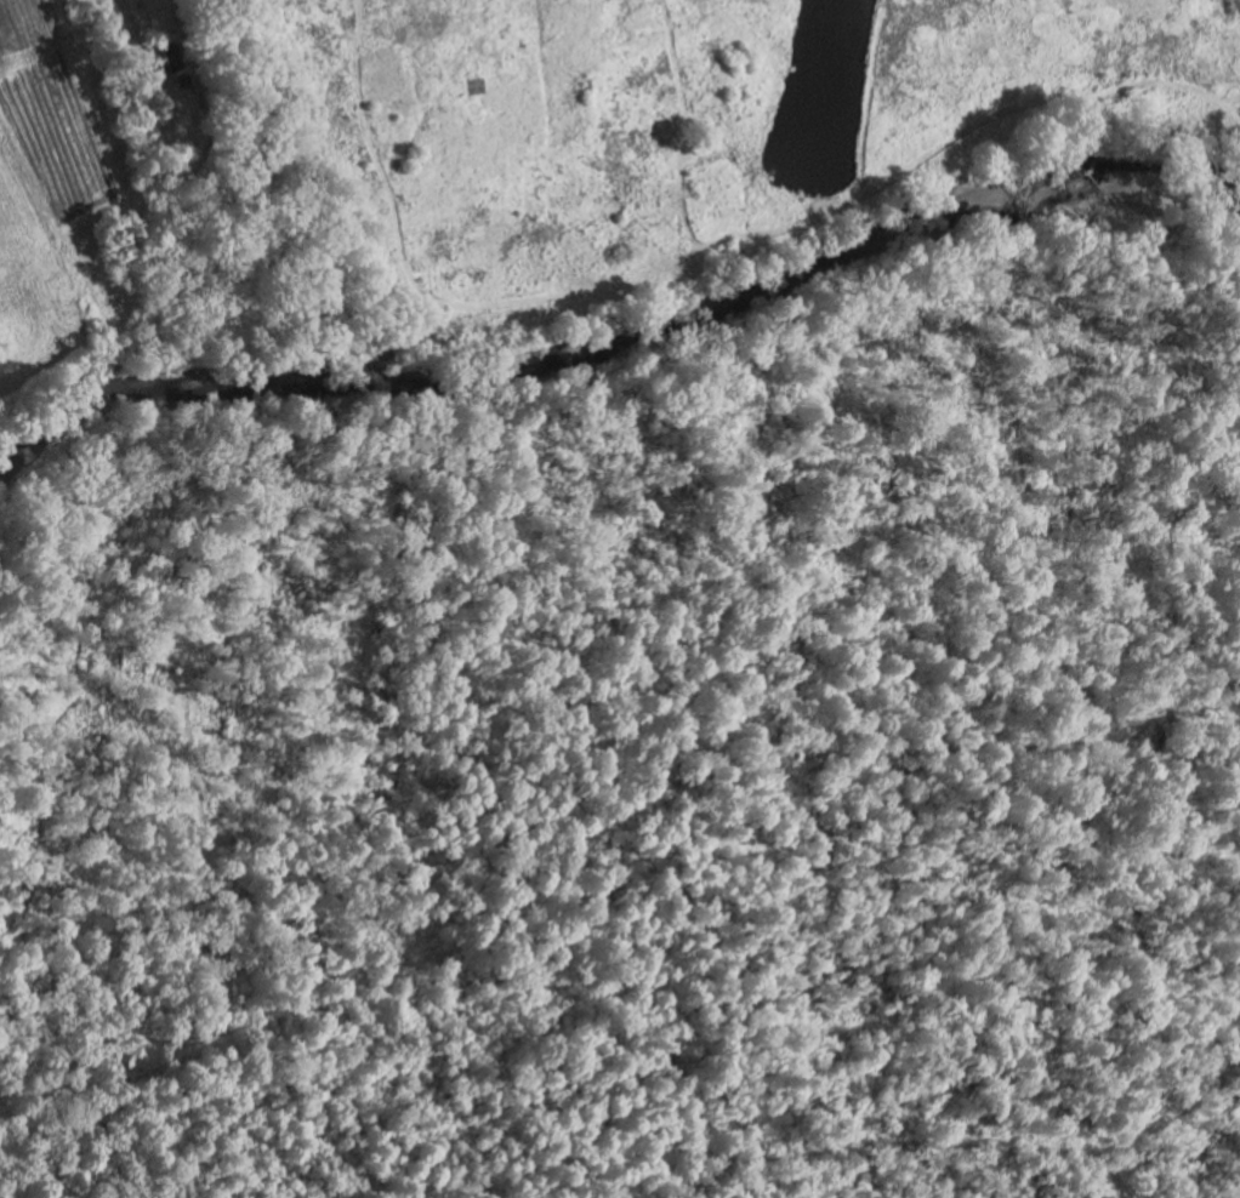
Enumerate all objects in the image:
road: (136, 36)

